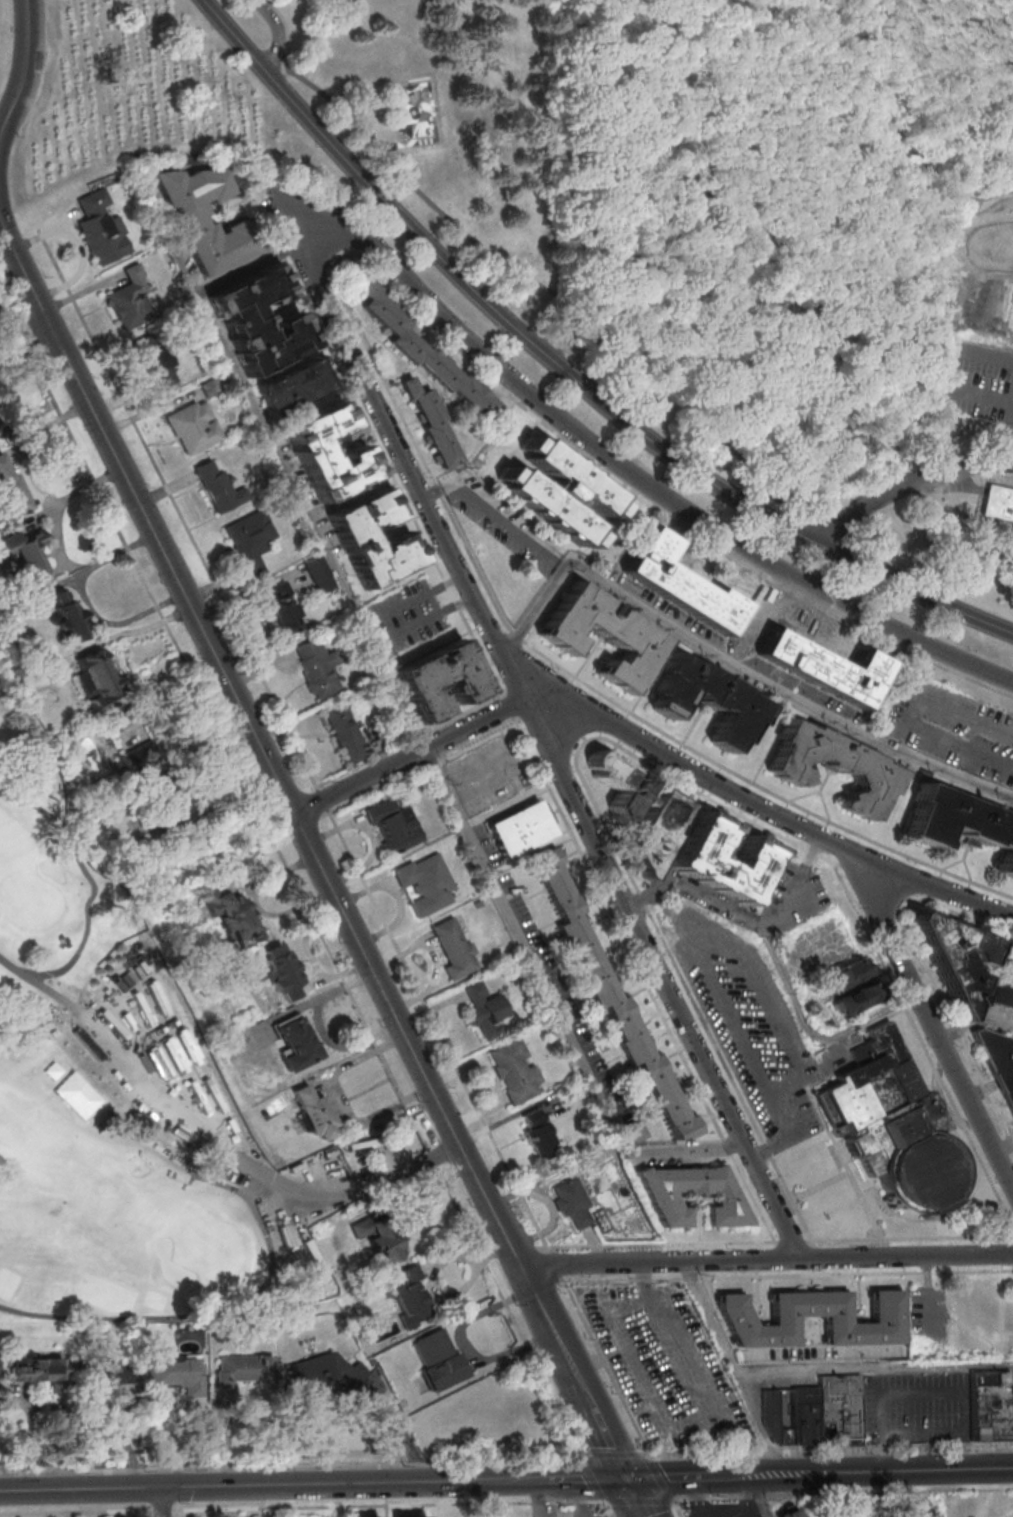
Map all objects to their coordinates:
road: (285, 30)
road: (277, 37)
road: (23, 67)
park: (414, 108)
road: (896, 126)
road: (364, 156)
building: (188, 224)
road: (0, 228)
park: (639, 228)
building: (99, 229)
road: (295, 246)
road: (77, 247)
road: (238, 272)
building: (129, 299)
road: (555, 308)
building: (257, 320)
road: (25, 330)
building: (658, 350)
building: (424, 354)
parking lot: (978, 356)
building: (153, 360)
road: (572, 366)
road: (565, 373)
road: (560, 377)
road: (491, 378)
building: (209, 388)
building: (293, 388)
building: (430, 424)
building: (191, 427)
road: (370, 432)
road: (1009, 441)
building: (307, 452)
parking lot: (1010, 460)
road: (281, 465)
road: (26, 478)
road: (903, 486)
road: (649, 487)
building: (218, 488)
road: (355, 489)
building: (10, 490)
building: (558, 492)
building: (998, 503)
road: (498, 505)
road: (147, 522)
parking lot: (502, 530)
building: (351, 539)
building: (249, 541)
road: (57, 545)
building: (26, 549)
building: (318, 575)
building: (677, 585)
road: (88, 601)
road: (411, 601)
building: (281, 608)
building: (67, 612)
parking lot: (405, 616)
road: (421, 622)
road: (134, 631)
road: (516, 635)
building: (601, 635)
road: (732, 665)
building: (317, 668)
building: (824, 670)
building: (98, 675)
building: (436, 681)
building: (706, 700)
road: (508, 706)
building: (344, 730)
parking lot: (952, 730)
road: (546, 746)
road: (653, 753)
road: (643, 760)
building: (146, 765)
building: (832, 767)
parking lot: (485, 776)
building: (616, 784)
road: (759, 785)
building: (959, 825)
building: (391, 826)
building: (518, 830)
building: (655, 832)
road: (346, 844)
building: (694, 858)
building: (424, 884)
road: (295, 889)
park: (28, 899)
parking lot: (793, 899)
building: (244, 921)
road: (528, 947)
building: (452, 949)
building: (951, 957)
road: (698, 959)
road: (778, 968)
building: (284, 972)
road: (927, 976)
building: (843, 977)
road: (643, 979)
building: (1001, 992)
building: (609, 996)
building: (853, 1001)
building: (483, 1011)
road: (974, 1022)
road: (930, 1023)
parking lot: (753, 1027)
road: (406, 1041)
building: (297, 1043)
building: (997, 1063)
building: (513, 1071)
park: (106, 1098)
building: (314, 1112)
building: (894, 1125)
building: (537, 1136)
road: (685, 1149)
road: (1004, 1149)
building: (341, 1169)
building: (658, 1195)
building: (569, 1202)
park: (119, 1219)
building: (381, 1238)
road: (908, 1239)
road: (788, 1242)
road: (660, 1245)
park: (212, 1247)
road: (766, 1259)
road: (787, 1274)
building: (408, 1295)
building: (885, 1318)
building: (438, 1358)
parking lot: (666, 1364)
road: (733, 1367)
building: (36, 1369)
building: (242, 1369)
road: (874, 1369)
building: (111, 1370)
road: (574, 1371)
building: (325, 1372)
building: (176, 1373)
building: (993, 1404)
building: (842, 1409)
building: (808, 1415)
building: (777, 1418)
road: (405, 1431)
road: (913, 1435)
road: (31, 1438)
road: (830, 1450)
road: (619, 1455)
road: (295, 1466)
road: (862, 1471)
road: (670, 1476)
traffic signals: (627, 1477)
road: (582, 1478)
road: (473, 1479)
road: (596, 1479)
road: (661, 1480)
road: (204, 1485)
road: (843, 1491)
road: (748, 1495)
road: (698, 1496)
road: (538, 1497)
road: (636, 1497)
road: (759, 1497)
road: (643, 1500)
road: (161, 1501)
road: (393, 1504)
road: (610, 1508)
road: (676, 1508)
road: (165, 1509)
road: (76, 1511)
building: (788, 1512)
road: (147, 1513)
road: (177, 1513)
road: (1008, 1514)
parking lot: (759, 1516)

